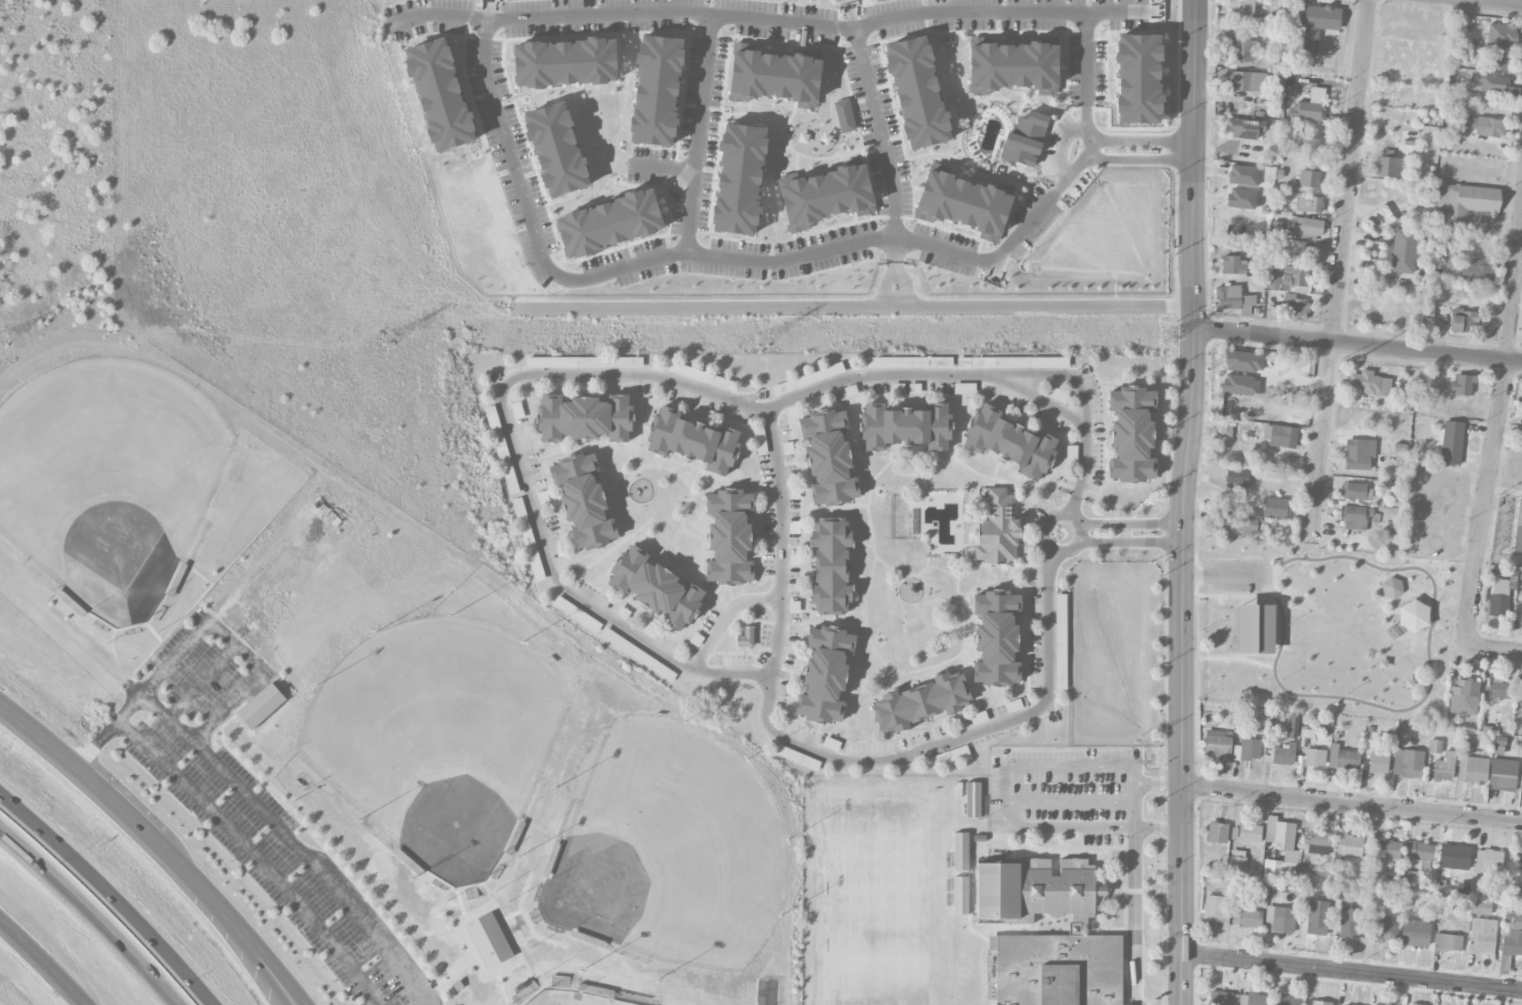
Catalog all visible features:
road: (1498, 2)
building: (1241, 10)
road: (803, 25)
building: (1311, 27)
building: (1501, 35)
building: (979, 40)
building: (1241, 51)
building: (1496, 60)
building: (565, 63)
building: (1012, 68)
power tower: (1212, 74)
building: (773, 77)
building: (1138, 79)
building: (1247, 82)
building: (1490, 83)
building: (656, 91)
building: (917, 94)
building: (439, 95)
building: (1306, 111)
building: (843, 116)
building: (1489, 127)
building: (1245, 132)
road: (878, 133)
road: (697, 134)
building: (1024, 140)
road: (1145, 140)
building: (556, 150)
building: (1386, 167)
road: (662, 169)
building: (1242, 176)
building: (1308, 179)
building: (739, 180)
building: (824, 196)
building: (1241, 199)
building: (1469, 202)
building: (964, 205)
building: (1314, 205)
building: (609, 224)
building: (1307, 226)
building: (1405, 251)
road: (720, 257)
road: (894, 257)
building: (1233, 266)
road: (1337, 270)
building: (1476, 270)
building: (1287, 279)
road: (883, 288)
road: (905, 289)
building: (1233, 300)
road: (849, 307)
building: (1296, 310)
building: (1462, 321)
power tower: (1165, 338)
power tower: (0, 340)
power tower: (763, 340)
power tower: (386, 341)
road: (1356, 346)
power tower: (1356, 360)
building: (975, 362)
building: (591, 363)
building: (906, 363)
building: (1026, 363)
road: (929, 374)
building: (1369, 384)
building: (1461, 385)
building: (1405, 403)
road: (1084, 404)
building: (584, 419)
building: (905, 427)
road: (1495, 428)
building: (1131, 435)
building: (1279, 436)
building: (497, 438)
building: (1520, 439)
building: (692, 441)
building: (1009, 443)
building: (1451, 443)
building: (1358, 454)
building: (828, 458)
road: (520, 469)
building: (1236, 477)
park: (107, 479)
building: (1356, 492)
building: (583, 502)
road: (1180, 502)
building: (1274, 508)
parking lot: (1433, 512)
building: (1355, 518)
road: (1128, 524)
building: (1238, 524)
building: (997, 530)
road: (1044, 533)
road: (1123, 533)
building: (729, 537)
road: (1129, 541)
road: (1320, 559)
building: (830, 566)
parking lot: (1235, 576)
building: (655, 588)
building: (1391, 588)
building: (1500, 597)
building: (1520, 610)
road: (1433, 611)
road: (1393, 612)
building: (1412, 616)
road: (724, 618)
road: (70, 624)
park: (1221, 628)
park: (1326, 629)
building: (1254, 630)
building: (745, 638)
building: (996, 639)
building: (1060, 641)
road: (1495, 651)
road: (1235, 659)
road: (258, 667)
building: (824, 675)
road: (200, 680)
building: (1499, 689)
building: (1463, 698)
road: (1346, 699)
building: (920, 703)
building: (260, 706)
road: (128, 708)
park: (432, 725)
road: (94, 743)
building: (1217, 745)
building: (1434, 747)
building: (1247, 750)
road: (828, 753)
building: (1284, 754)
building: (793, 757)
building: (1314, 758)
building: (1342, 758)
building: (939, 760)
building: (1377, 763)
building: (1407, 764)
building: (1472, 766)
building: (1443, 767)
building: (1502, 776)
road: (1159, 783)
road: (998, 790)
building: (972, 801)
road: (1067, 803)
road: (1352, 807)
building: (1217, 833)
building: (1279, 833)
building: (1249, 834)
building: (979, 838)
building: (1318, 843)
park: (679, 844)
building: (1348, 845)
road: (160, 847)
building: (1421, 851)
building: (960, 852)
building: (1388, 852)
road: (255, 854)
building: (1452, 856)
building: (1488, 861)
building: (1236, 862)
building: (1519, 863)
road: (315, 867)
building: (1278, 869)
building: (1410, 879)
road: (194, 889)
building: (1033, 889)
building: (1515, 894)
road: (108, 896)
building: (960, 896)
park: (889, 902)
building: (1480, 908)
building: (1214, 910)
road: (92, 913)
road: (1135, 916)
building: (1512, 916)
building: (1317, 918)
building: (1249, 919)
building: (1349, 923)
building: (1278, 924)
building: (1382, 930)
building: (1415, 933)
building: (1481, 936)
building: (487, 942)
building: (1447, 943)
building: (1512, 943)
road: (40, 964)
building: (1056, 969)
road: (1352, 973)
building: (524, 991)
building: (1222, 998)
building: (1251, 999)
building: (1288, 1000)
building: (1320, 1003)

